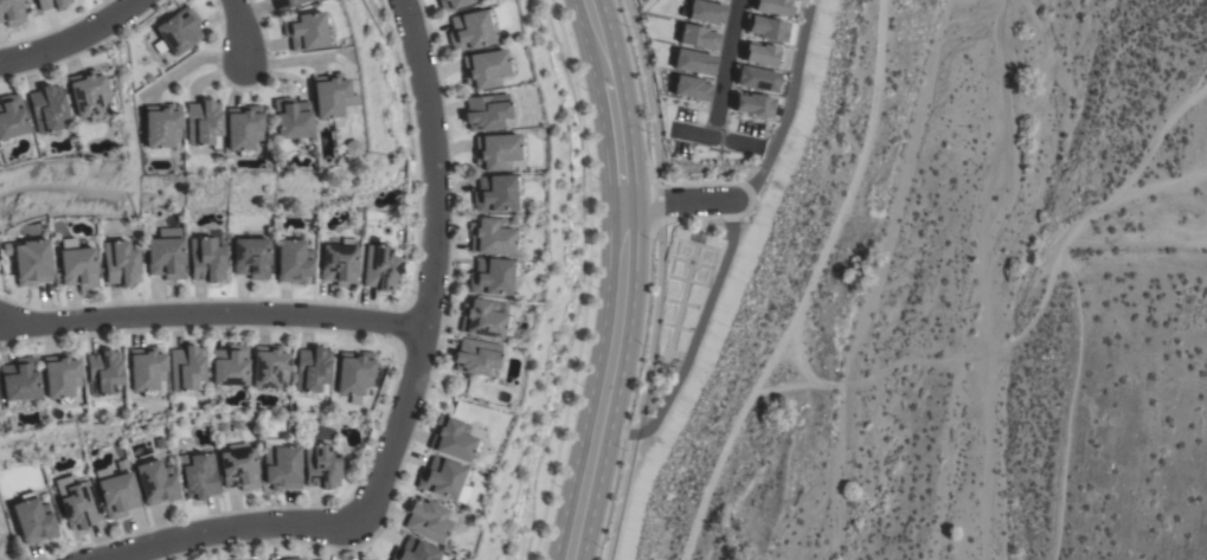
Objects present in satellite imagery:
building: (720, 0)
building: (725, 0)
building: (51, 4)
building: (285, 4)
building: (451, 4)
building: (773, 7)
building: (11, 12)
building: (706, 12)
building: (768, 28)
building: (178, 30)
road: (245, 30)
building: (469, 30)
building: (304, 31)
road: (593, 33)
road: (69, 36)
building: (699, 37)
building: (760, 53)
building: (694, 62)
building: (484, 69)
road: (732, 69)
building: (758, 78)
building: (691, 88)
road: (646, 91)
building: (86, 95)
building: (330, 97)
building: (752, 104)
building: (46, 108)
building: (484, 111)
building: (11, 118)
building: (290, 120)
building: (201, 122)
building: (161, 125)
building: (240, 128)
road: (615, 135)
road: (721, 139)
building: (348, 148)
building: (495, 152)
building: (494, 193)
road: (679, 200)
road: (657, 204)
building: (490, 237)
building: (166, 253)
building: (250, 257)
building: (206, 259)
building: (31, 260)
building: (293, 262)
building: (121, 263)
building: (339, 263)
building: (78, 268)
building: (380, 268)
building: (490, 276)
road: (585, 279)
road: (804, 287)
road: (212, 315)
building: (483, 318)
building: (475, 356)
building: (269, 366)
building: (229, 367)
building: (186, 368)
building: (146, 369)
building: (312, 371)
building: (103, 372)
building: (353, 372)
building: (60, 376)
building: (18, 381)
road: (603, 382)
road: (405, 384)
road: (629, 390)
road: (640, 391)
building: (452, 439)
building: (281, 464)
building: (322, 465)
building: (239, 469)
building: (200, 477)
building: (444, 479)
building: (156, 482)
building: (116, 491)
building: (79, 504)
building: (34, 519)
building: (429, 520)
building: (413, 551)
building: (290, 559)

